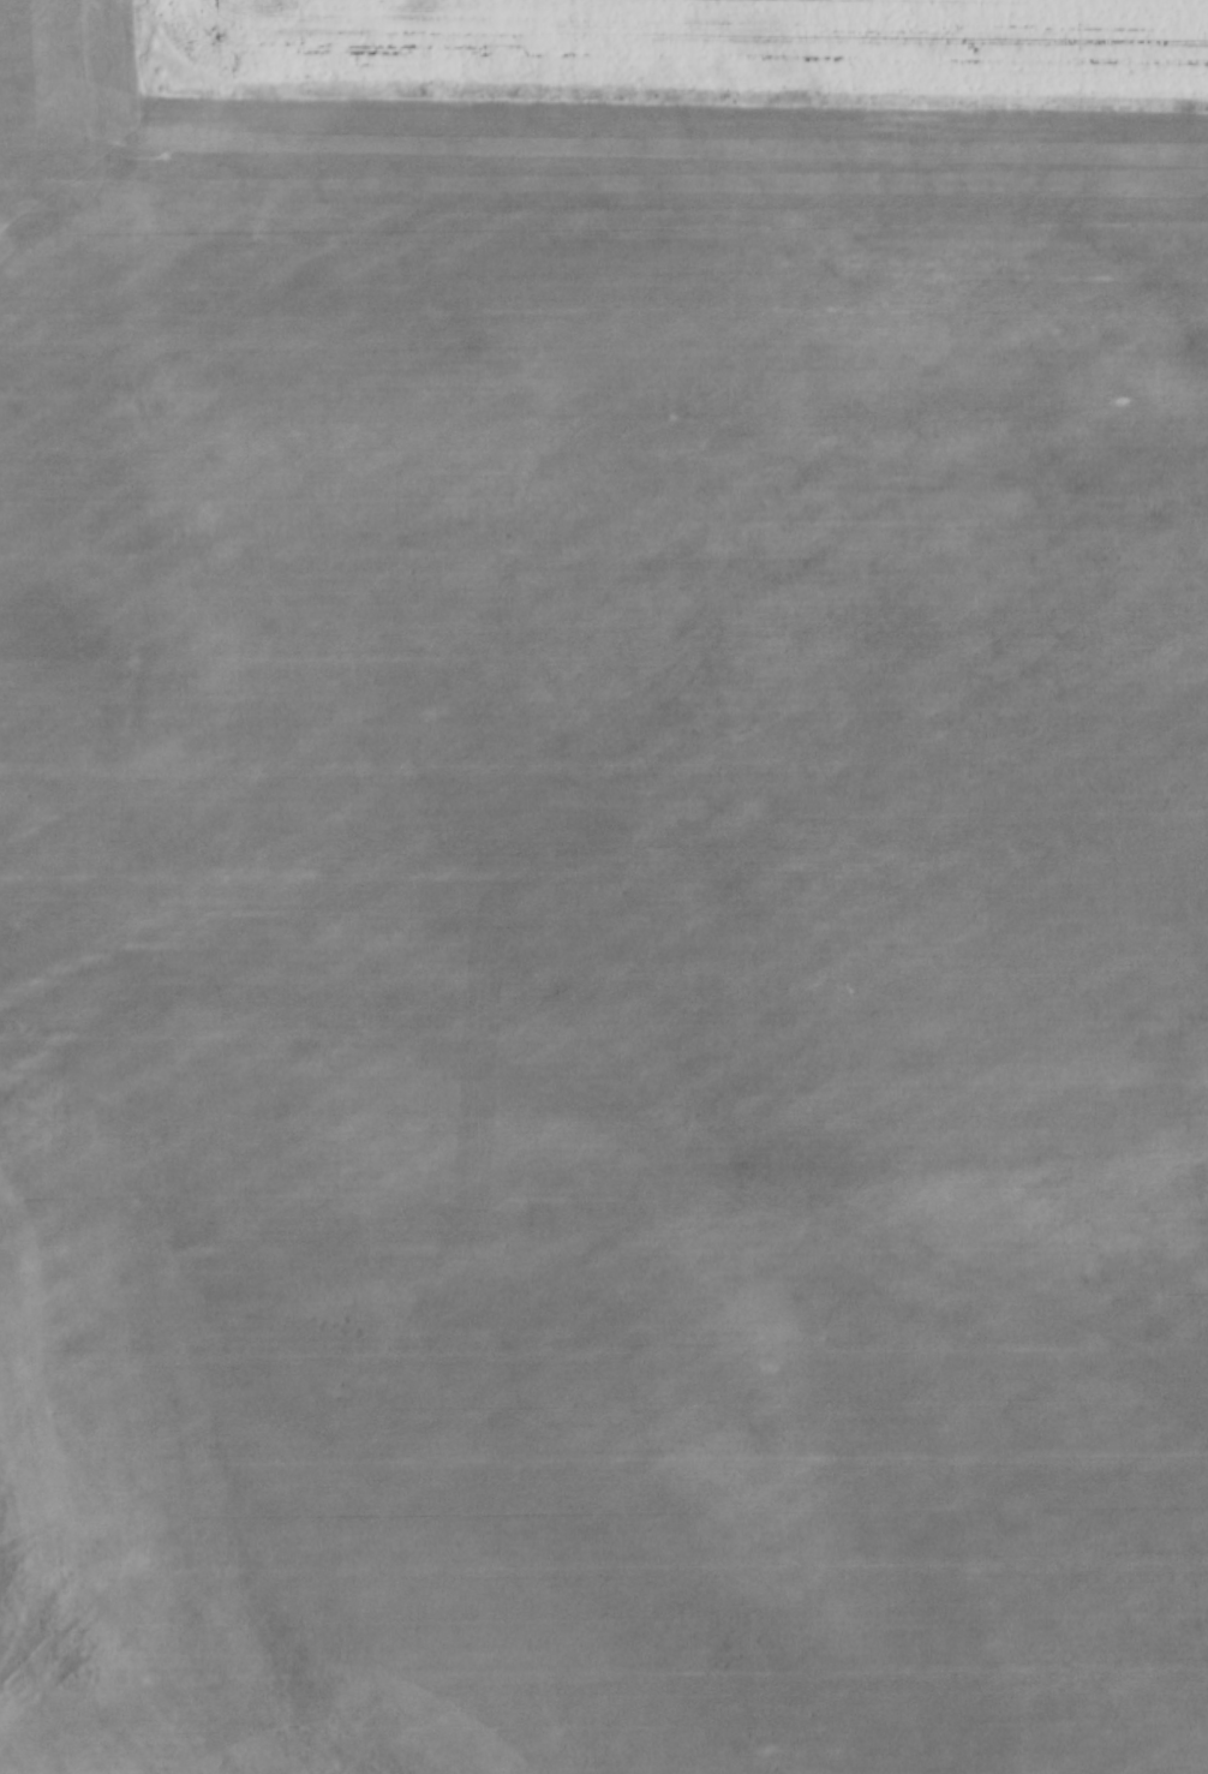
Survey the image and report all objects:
road: (142, 43)
road: (675, 86)

